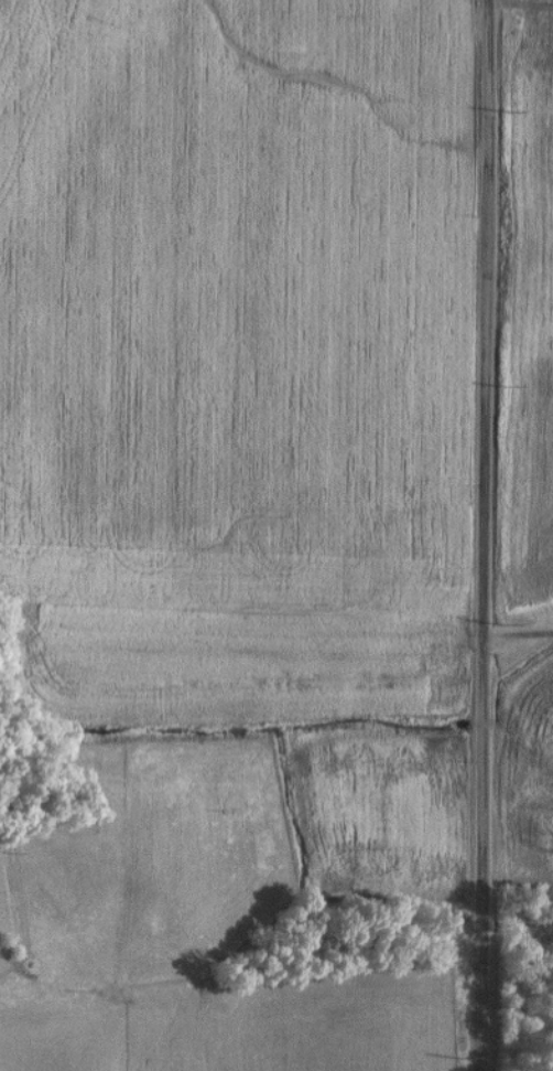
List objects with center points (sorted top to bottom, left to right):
road: (482, 535)
road: (518, 634)

